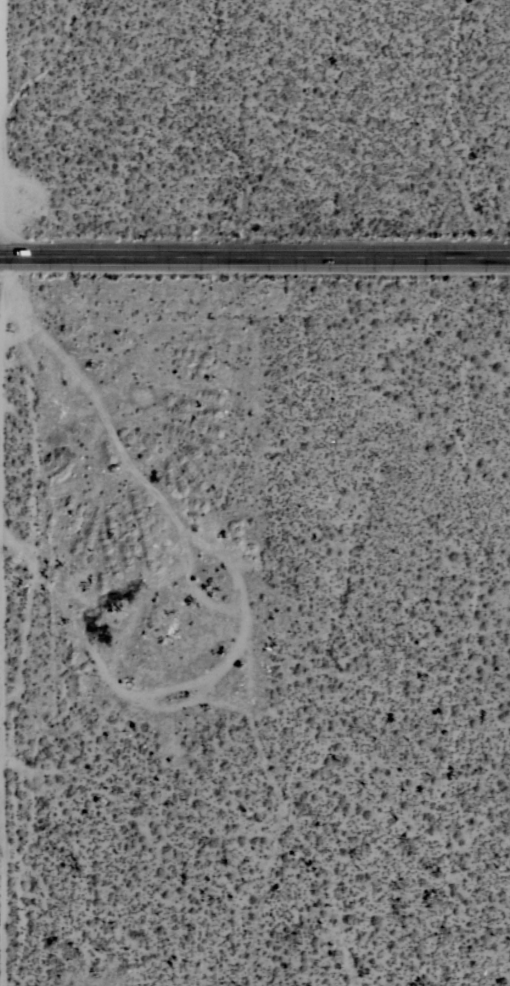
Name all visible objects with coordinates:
road: (255, 257)
road: (6, 492)

